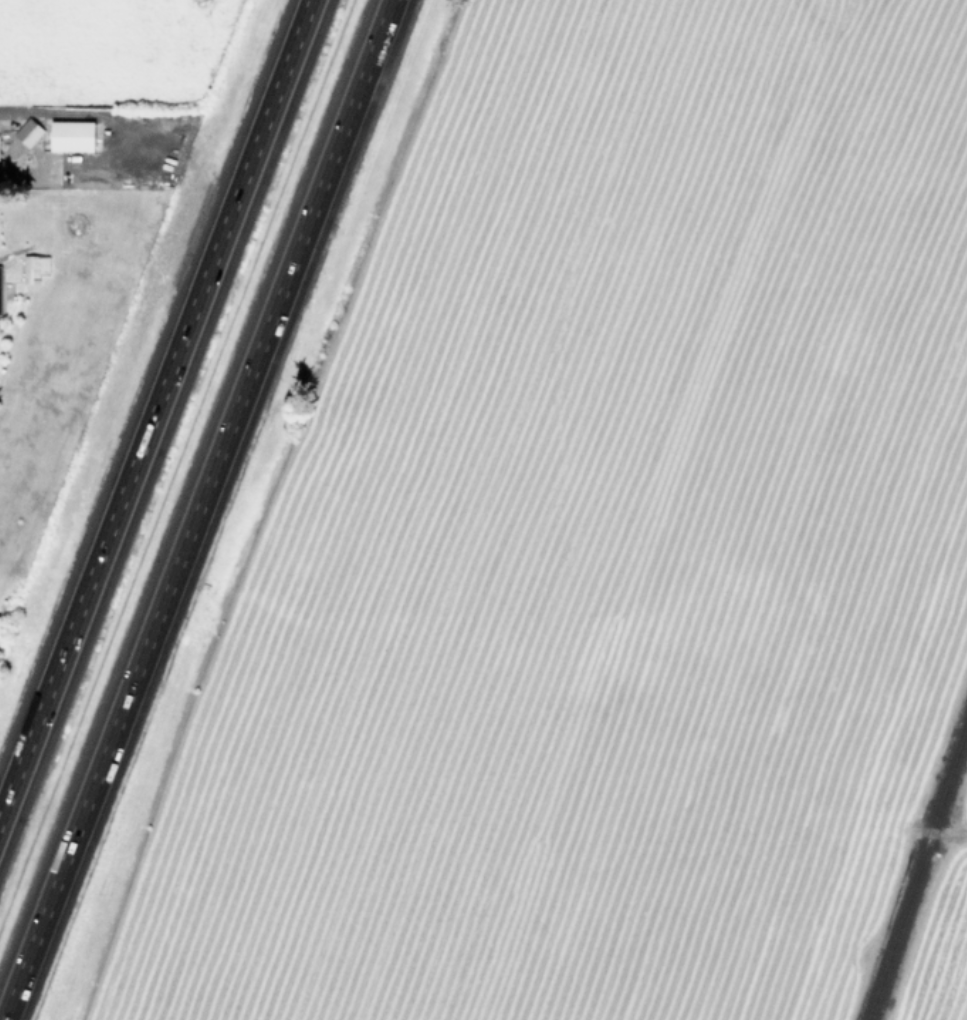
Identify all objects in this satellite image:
road: (64, 114)
building: (28, 132)
building: (71, 135)
crop: (70, 203)
building: (34, 267)
building: (0, 306)
road: (155, 407)
road: (196, 510)
crop: (617, 556)
railway: (917, 871)

